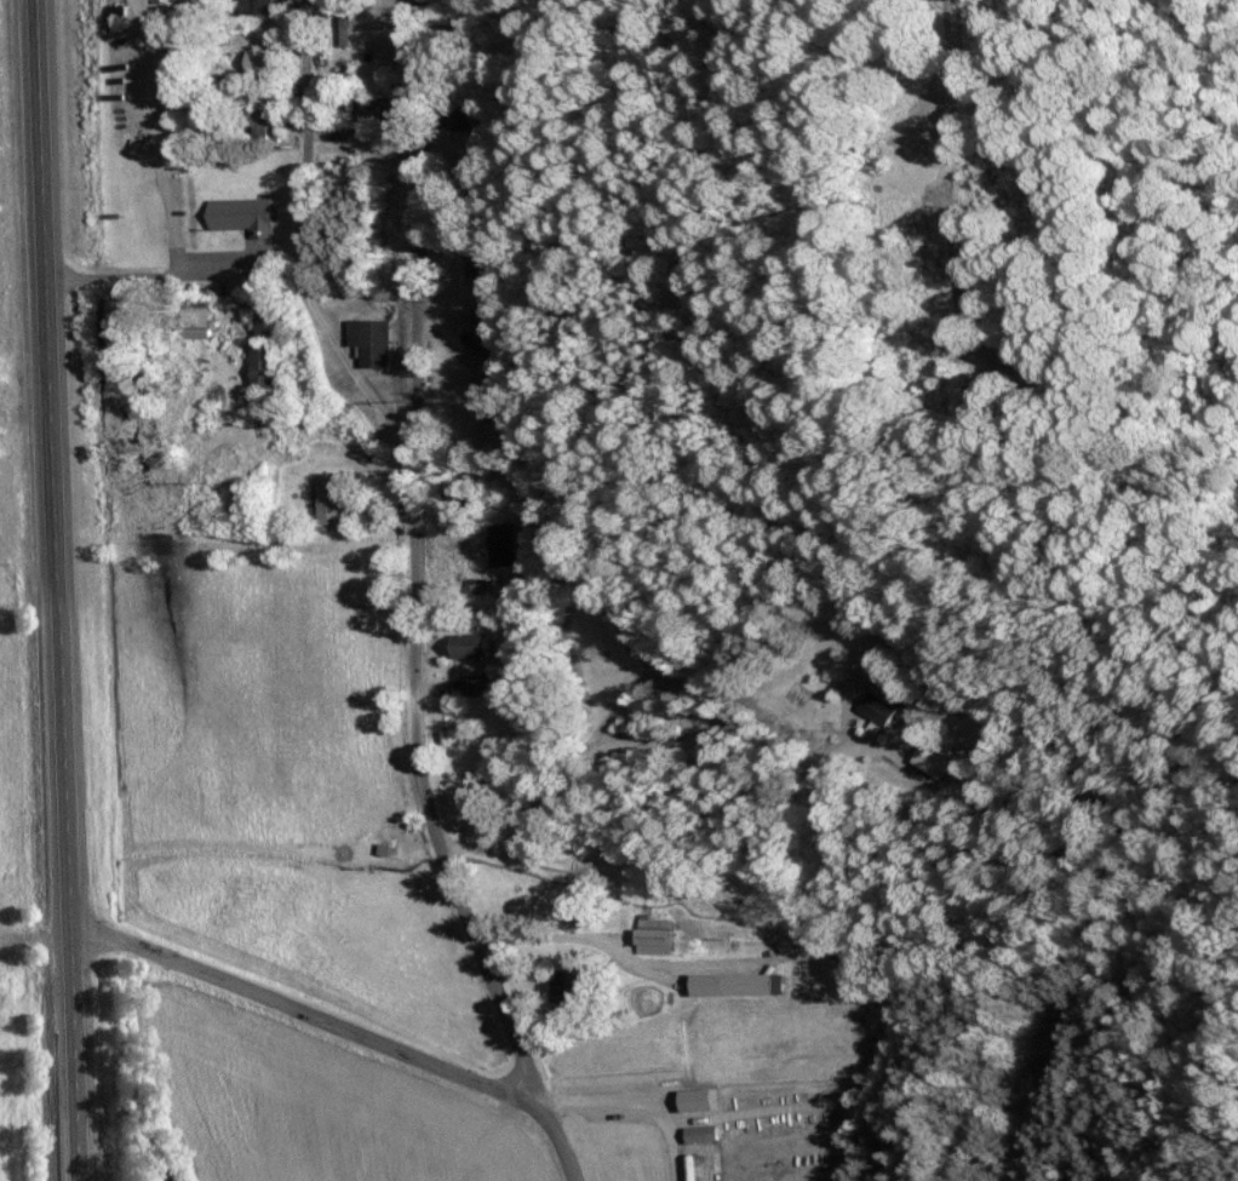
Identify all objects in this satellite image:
building: (264, 5)
road: (945, 12)
building: (326, 16)
building: (346, 25)
building: (325, 45)
building: (264, 61)
building: (379, 109)
building: (268, 120)
road: (362, 134)
road: (305, 145)
building: (875, 159)
building: (245, 213)
building: (471, 266)
building: (273, 320)
building: (477, 329)
building: (371, 340)
building: (266, 365)
road: (361, 371)
building: (492, 402)
building: (332, 500)
building: (506, 545)
road: (57, 590)
road: (419, 603)
building: (474, 646)
building: (480, 686)
building: (881, 709)
building: (935, 761)
building: (658, 936)
building: (743, 985)
building: (569, 986)
road: (305, 1011)
road: (634, 1103)
building: (706, 1134)
building: (694, 1168)

